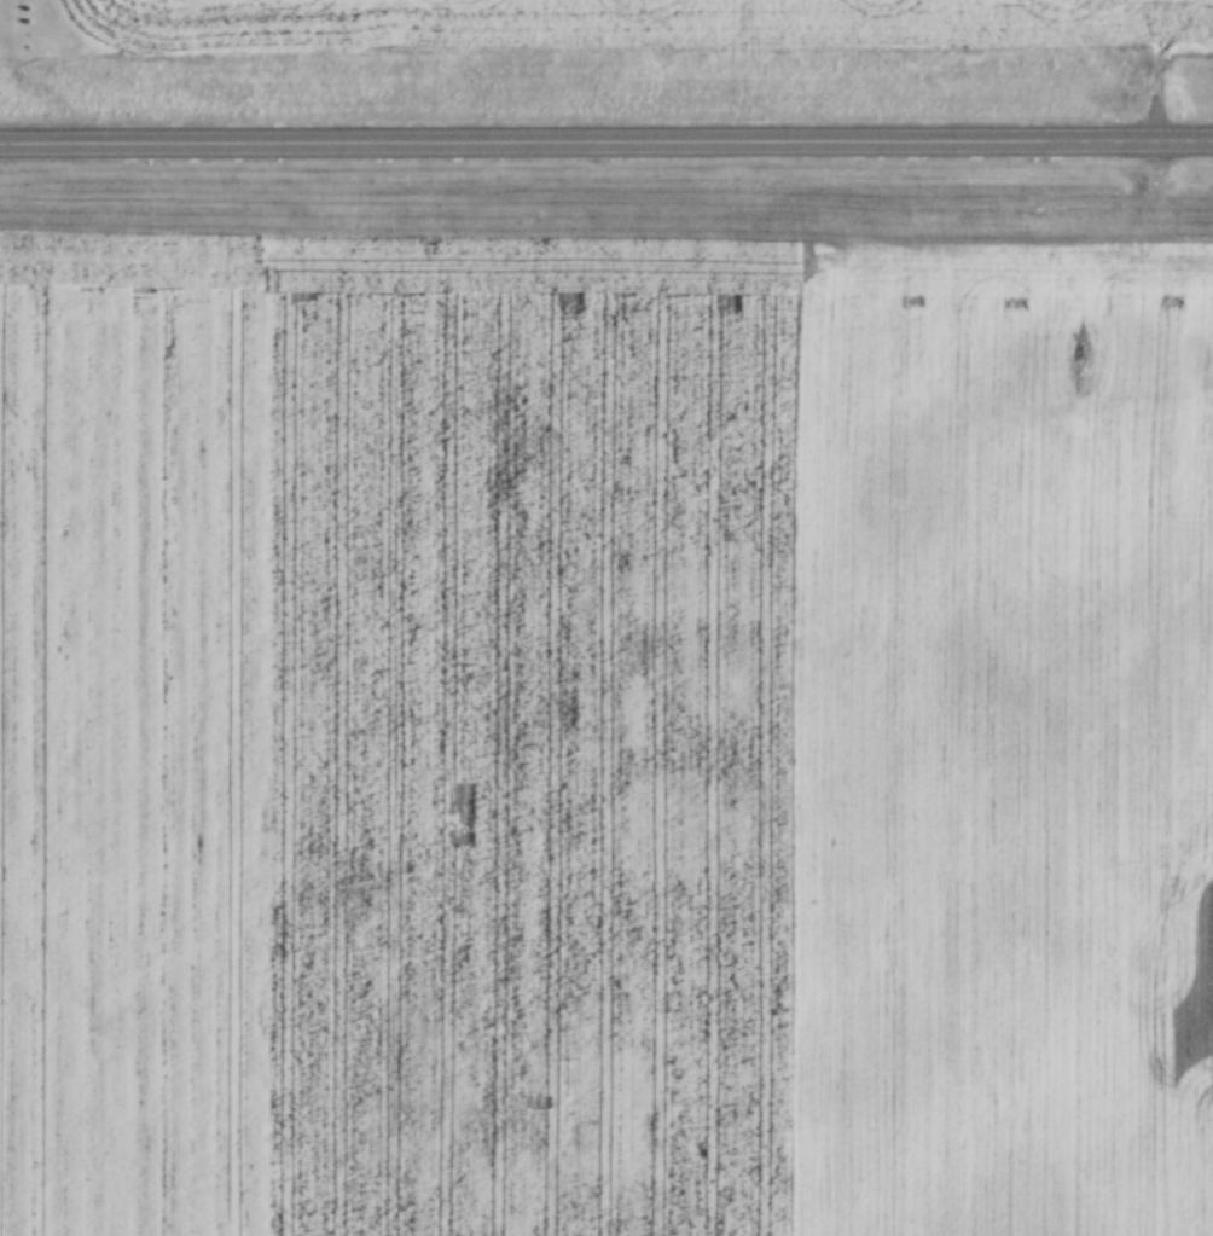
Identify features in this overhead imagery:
park: (10, 28)
road: (606, 145)

